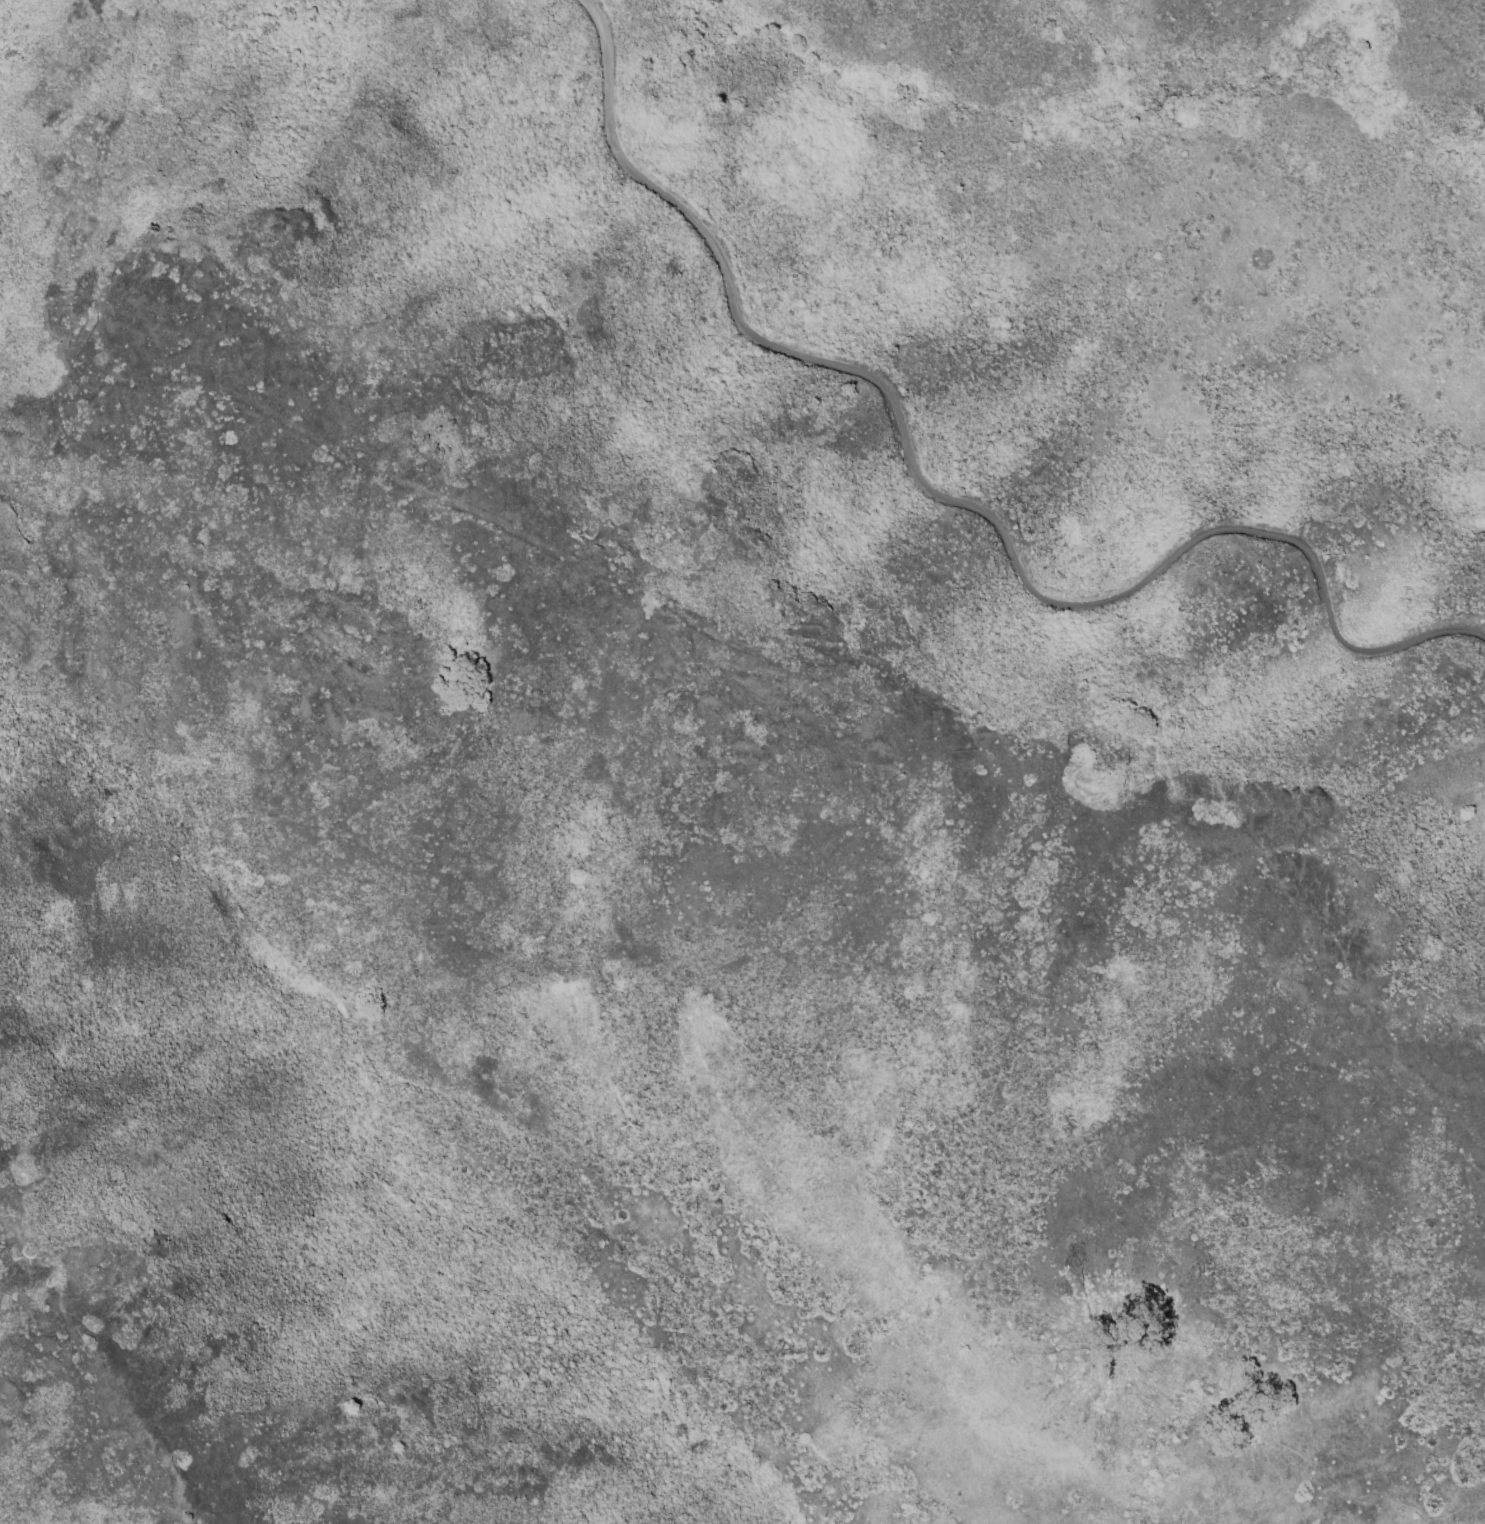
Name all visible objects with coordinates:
road: (957, 501)

